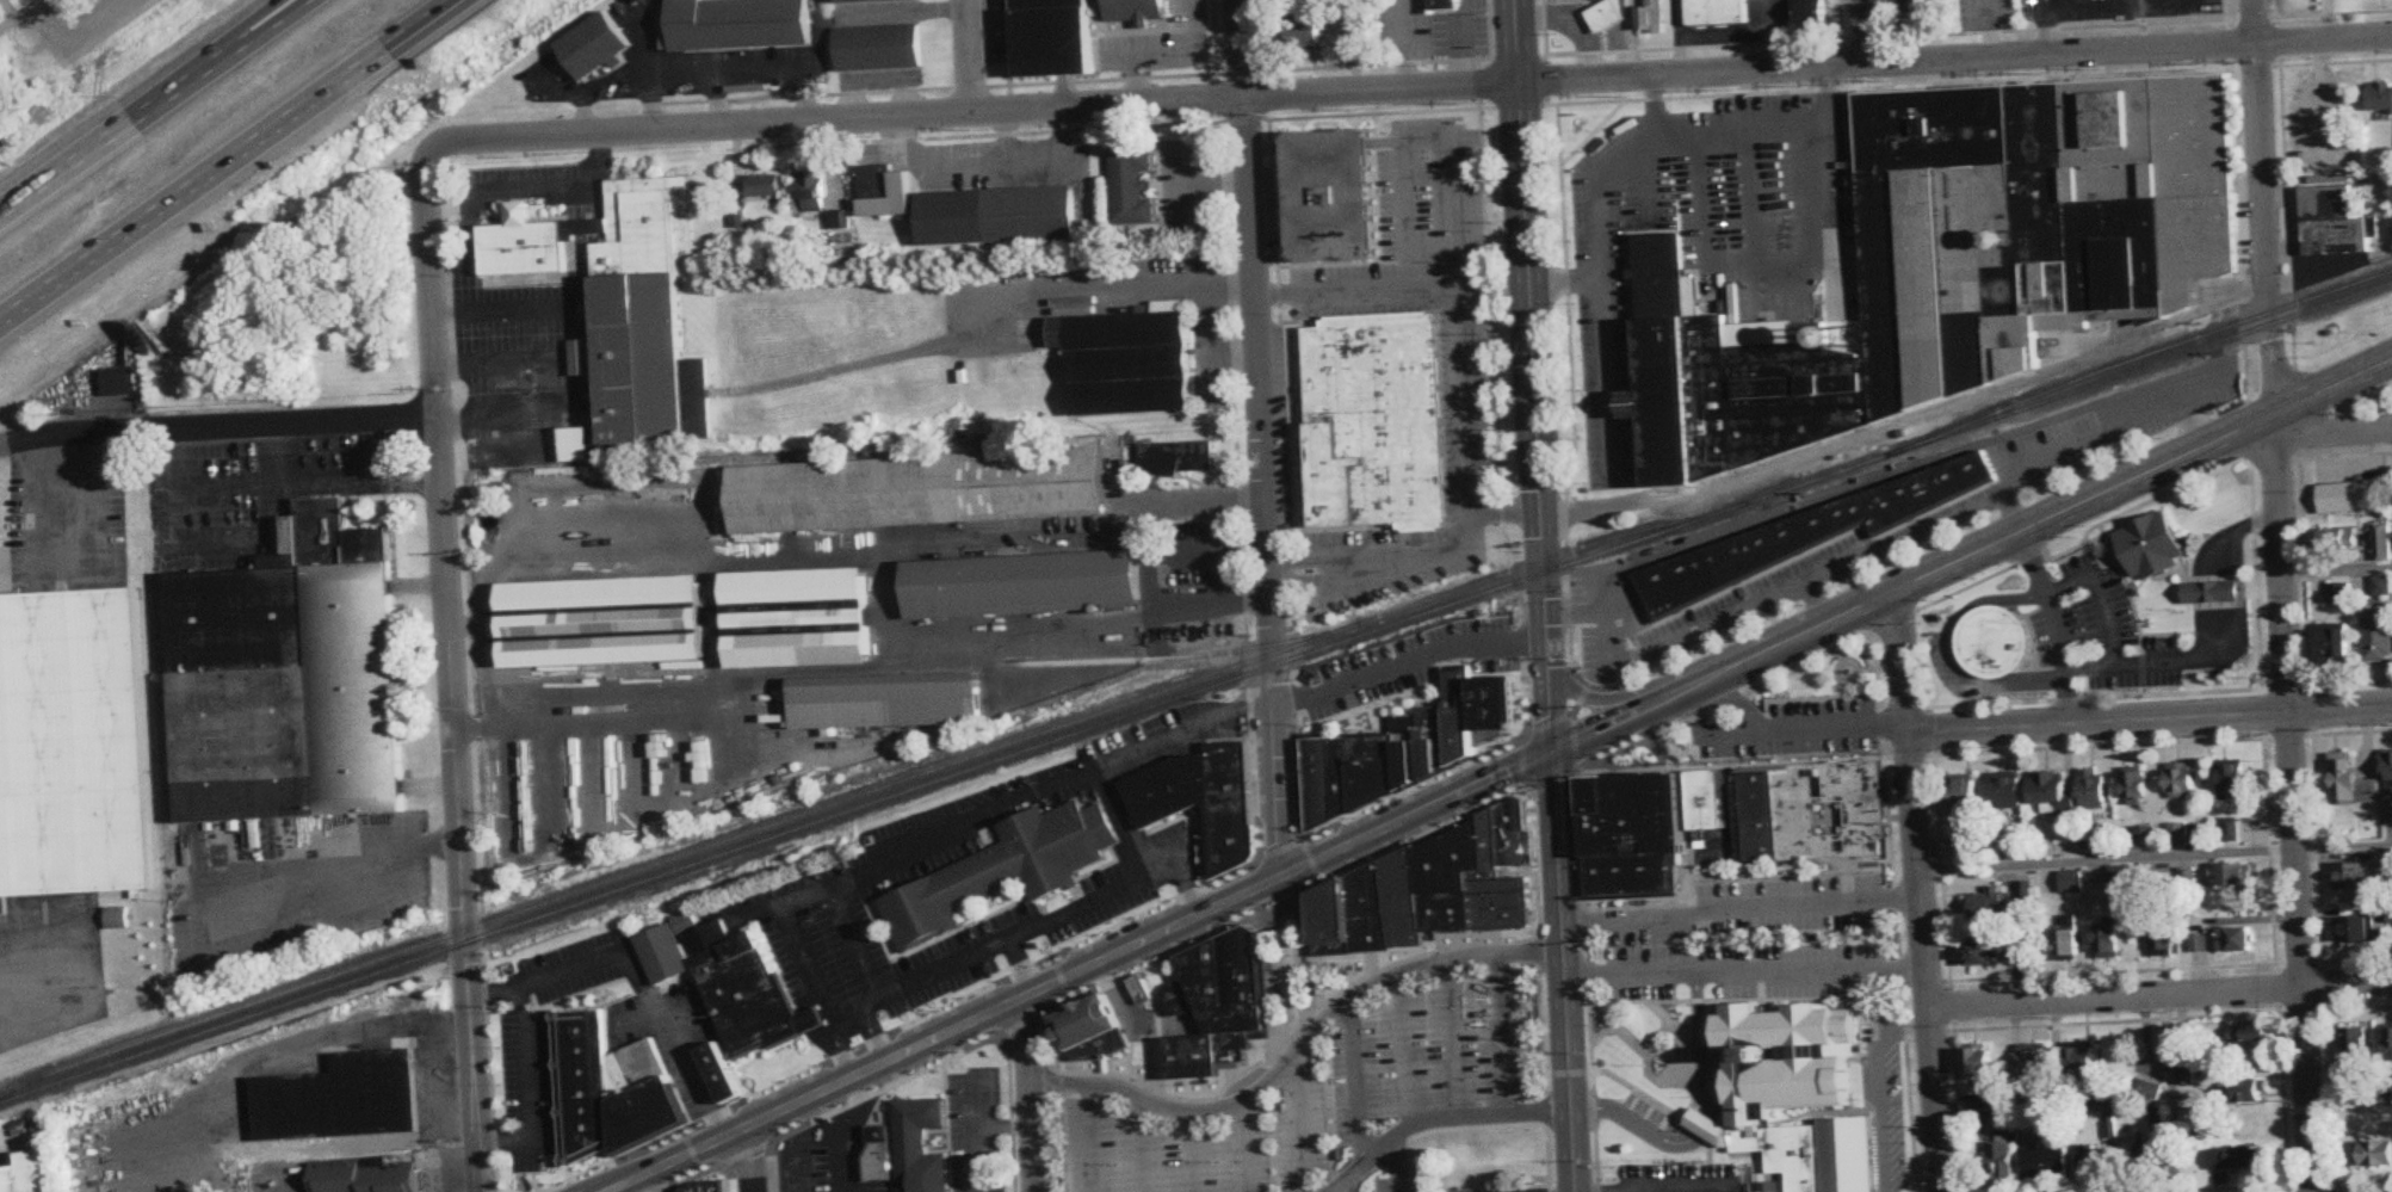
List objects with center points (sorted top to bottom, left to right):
building: (863, 0)
building: (1582, 0)
road: (58, 1)
road: (109, 4)
road: (117, 4)
road: (966, 5)
building: (1438, 8)
building: (1915, 8)
road: (2089, 10)
building: (1137, 11)
building: (1811, 11)
building: (1716, 13)
road: (24, 16)
building: (1603, 17)
building: (1651, 18)
parking lot: (87, 23)
road: (2254, 23)
building: (740, 24)
road: (1866, 33)
road: (70, 35)
building: (1305, 35)
road: (242, 38)
building: (1052, 38)
building: (595, 47)
building: (878, 48)
road: (400, 53)
road: (970, 60)
road: (767, 70)
road: (1413, 89)
road: (804, 93)
building: (2379, 98)
road: (716, 101)
road: (653, 106)
road: (157, 112)
road: (1739, 135)
road: (1429, 142)
road: (224, 160)
building: (764, 186)
building: (1130, 187)
road: (517, 191)
building: (883, 192)
building: (810, 193)
building: (1330, 194)
building: (997, 216)
building: (2332, 222)
road: (2264, 228)
road: (1525, 254)
building: (1952, 263)
road: (1770, 282)
road: (1111, 283)
road: (1492, 286)
road: (1355, 290)
road: (1606, 297)
building: (626, 303)
road: (497, 313)
water tower: (1838, 336)
road: (1211, 339)
road: (1235, 353)
building: (583, 358)
railway: (2138, 358)
building: (1127, 360)
road: (499, 369)
railway: (2140, 369)
building: (124, 383)
road: (1464, 403)
road: (289, 419)
building: (1376, 420)
road: (1908, 421)
road: (490, 422)
road: (2189, 424)
road: (2331, 432)
road: (68, 436)
road: (1261, 437)
building: (576, 445)
building: (1176, 458)
road: (333, 481)
traffic signals: (1539, 488)
building: (919, 492)
building: (2349, 498)
road: (2013, 512)
road: (1504, 513)
road: (1540, 514)
road: (2031, 526)
building: (1805, 535)
building: (2337, 538)
building: (2381, 542)
building: (2151, 546)
road: (721, 548)
road: (1877, 552)
road: (1151, 558)
road: (1379, 558)
road: (2337, 570)
building: (1022, 585)
building: (2381, 586)
building: (2212, 593)
road: (1603, 597)
road: (2104, 598)
road: (1816, 604)
building: (798, 619)
building: (602, 623)
road: (2056, 625)
road: (1547, 635)
building: (2378, 635)
road: (2212, 637)
building: (1994, 643)
building: (2335, 647)
road: (1951, 655)
railway: (1145, 659)
road: (1408, 663)
parking lot: (1415, 665)
road: (452, 672)
building: (288, 692)
road: (1581, 699)
building: (885, 702)
building: (1495, 703)
road: (1599, 703)
building: (1459, 715)
road: (1574, 719)
road: (1613, 724)
road: (2046, 725)
building: (1433, 741)
building: (72, 745)
building: (1407, 751)
road: (1133, 752)
traffic signals: (1555, 752)
road: (1522, 762)
building: (1372, 768)
building: (2388, 773)
parking lot: (1287, 776)
railway: (944, 778)
building: (1327, 780)
building: (2181, 780)
building: (2233, 780)
road: (1553, 783)
building: (2351, 783)
road: (1415, 786)
road: (1477, 786)
building: (1168, 789)
building: (2094, 789)
building: (2136, 789)
railway: (871, 791)
building: (2008, 791)
road: (1526, 792)
building: (2051, 792)
parking lot: (1408, 798)
building: (1965, 798)
road: (2291, 802)
building: (1231, 805)
building: (1787, 814)
road: (969, 826)
building: (2229, 829)
building: (2178, 832)
building: (1632, 834)
parking lot: (1409, 835)
building: (2145, 838)
building: (1506, 841)
building: (1966, 847)
road: (1279, 851)
road: (2155, 858)
road: (1310, 863)
building: (1005, 871)
building: (2390, 873)
building: (2233, 875)
building: (2120, 876)
building: (2354, 877)
building: (1450, 878)
building: (2072, 882)
road: (1921, 890)
building: (2025, 890)
road: (808, 896)
building: (1404, 901)
road: (1285, 902)
building: (1988, 902)
road: (1212, 907)
road: (1742, 910)
building: (1370, 912)
building: (2390, 914)
building: (117, 919)
road: (1051, 920)
building: (1333, 922)
parking lot: (1125, 931)
building: (2359, 931)
road: (1563, 932)
building: (2069, 937)
building: (2163, 938)
building: (2237, 940)
building: (2109, 941)
building: (2200, 943)
road: (1686, 944)
parking lot: (1173, 946)
building: (1994, 952)
road: (1018, 966)
road: (1747, 971)
road: (637, 977)
road: (1061, 980)
building: (730, 983)
building: (1229, 988)
building: (1141, 989)
road: (2161, 996)
building: (1178, 999)
parking lot: (954, 1011)
road: (1027, 1023)
road: (1136, 1023)
road: (851, 1026)
road: (906, 1026)
road: (47, 1027)
building: (1090, 1030)
parking lot: (666, 1031)
road: (1900, 1031)
building: (2249, 1032)
parking lot: (543, 1038)
building: (2390, 1043)
road: (1699, 1045)
building: (2356, 1056)
building: (1787, 1060)
building: (1192, 1061)
parking lot: (921, 1063)
building: (1980, 1064)
building: (2033, 1064)
building: (2084, 1064)
building: (722, 1074)
road: (845, 1081)
road: (526, 1087)
road: (885, 1088)
road: (1114, 1088)
building: (608, 1089)
parking lot: (780, 1092)
road: (1032, 1093)
building: (342, 1097)
road: (975, 1103)
parking lot: (824, 1108)
road: (1880, 1120)
road: (1636, 1124)
road: (1704, 1125)
building: (2050, 1131)
road: (976, 1132)
road: (1092, 1139)
building: (1763, 1143)
building: (919, 1145)
road: (1142, 1147)
road: (691, 1153)
road: (1193, 1153)
road: (1572, 1153)
road: (744, 1154)
building: (879, 1154)
parking lot: (1123, 1154)
building: (2373, 1154)
building: (2151, 1155)
building: (2236, 1157)
road: (754, 1159)
building: (109, 1160)
building: (1998, 1160)
building: (2093, 1160)
building: (2045, 1162)
road: (707, 1172)
building: (30, 1173)
road: (457, 1173)
building: (365, 1174)
parking lot: (279, 1178)
building: (1841, 1178)
road: (280, 1179)
road: (638, 1179)
road: (661, 1180)
building: (705, 1188)
building: (1770, 1191)

